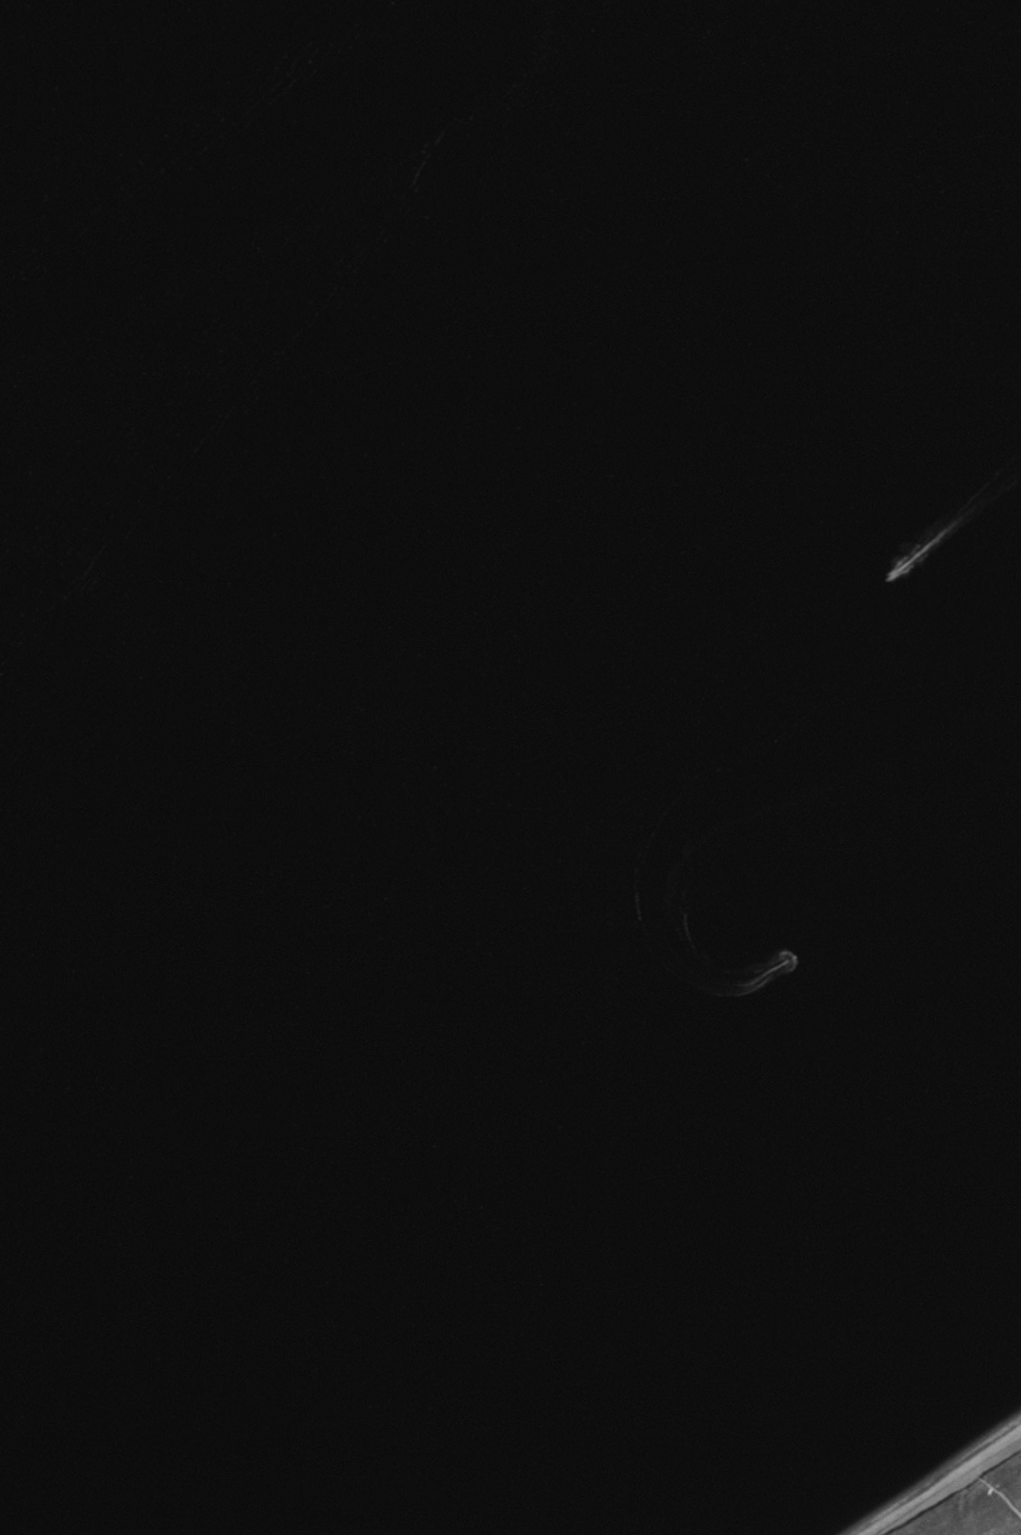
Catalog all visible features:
road: (1006, 1496)

